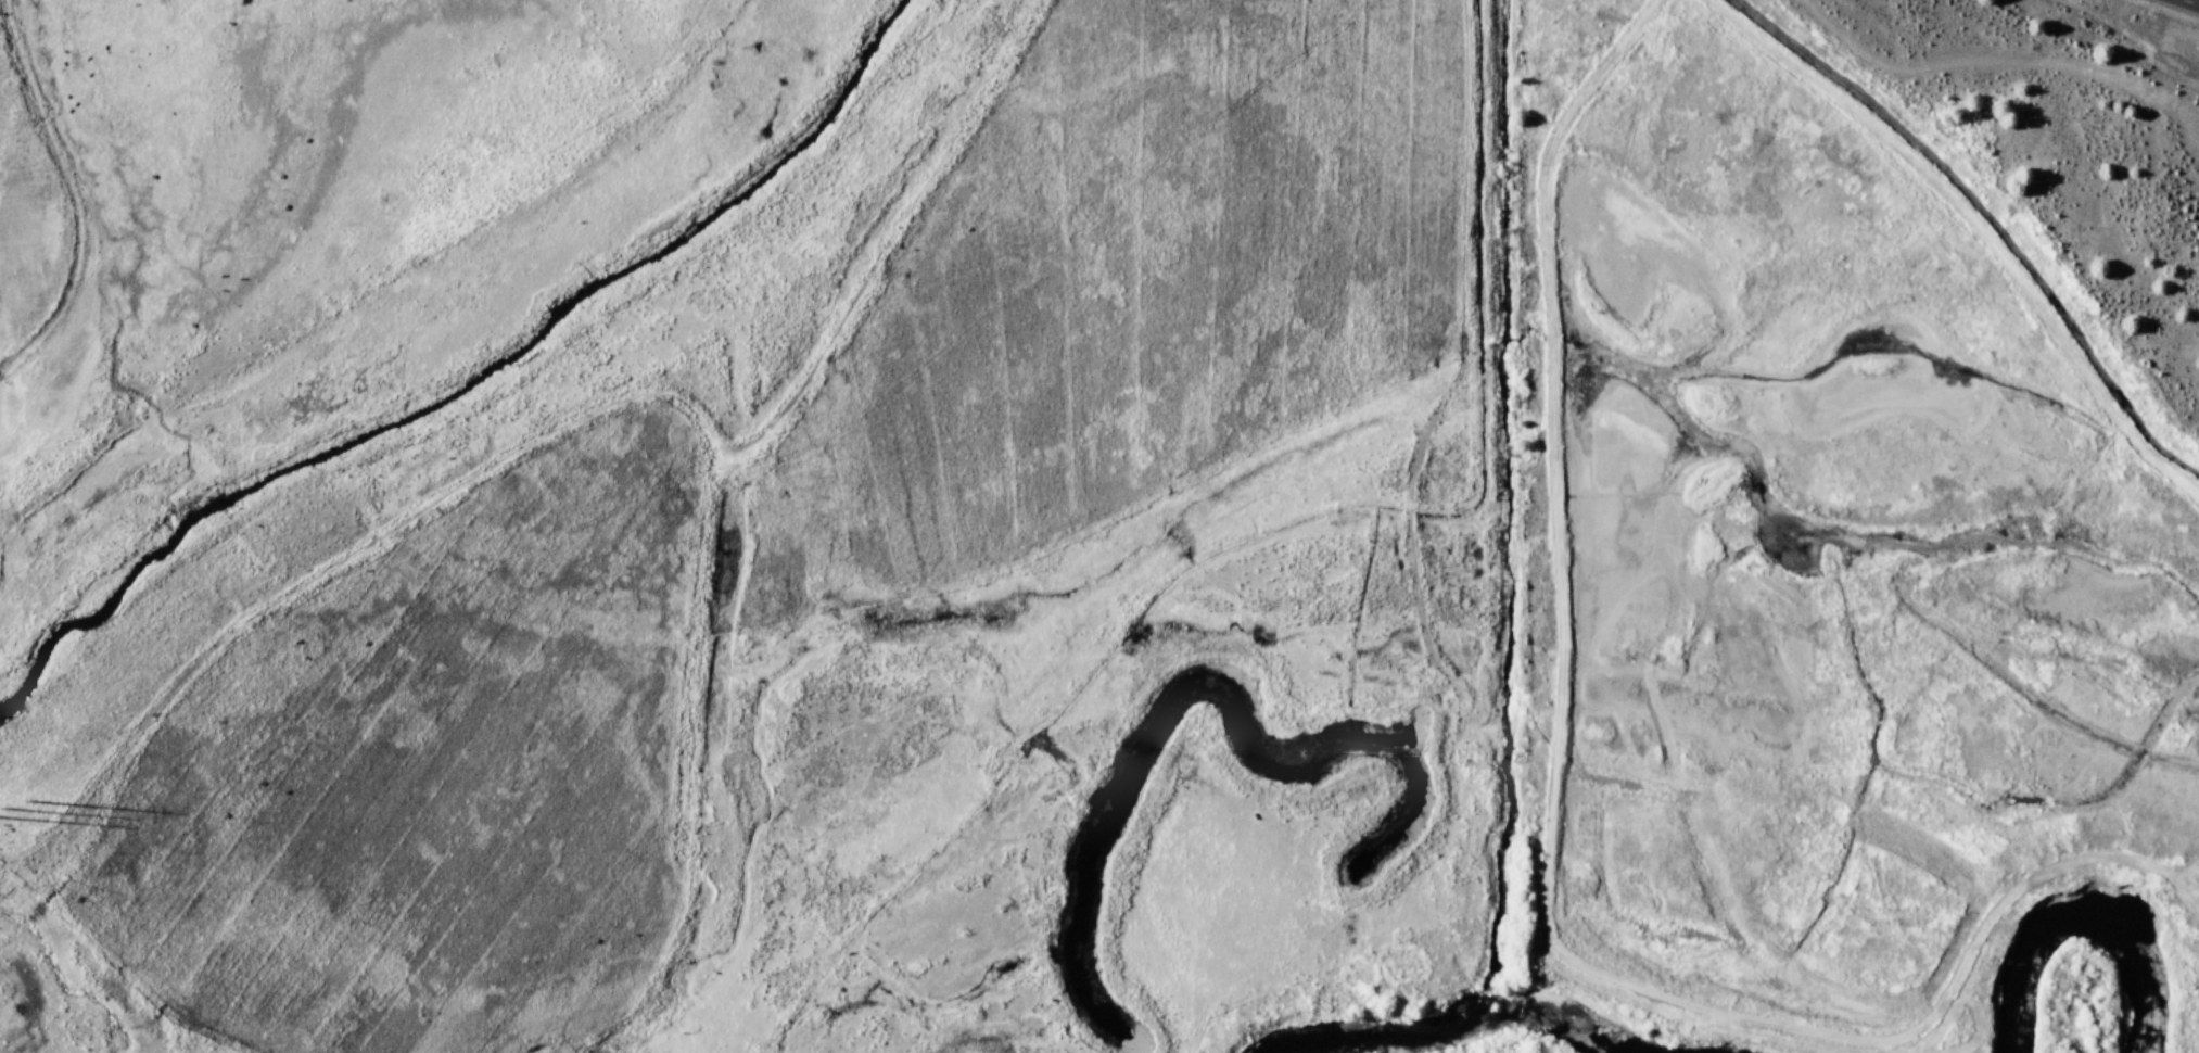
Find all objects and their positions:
road: (2192, 1)
power tower: (10, 811)
river: (2100, 912)
river: (1508, 1005)

